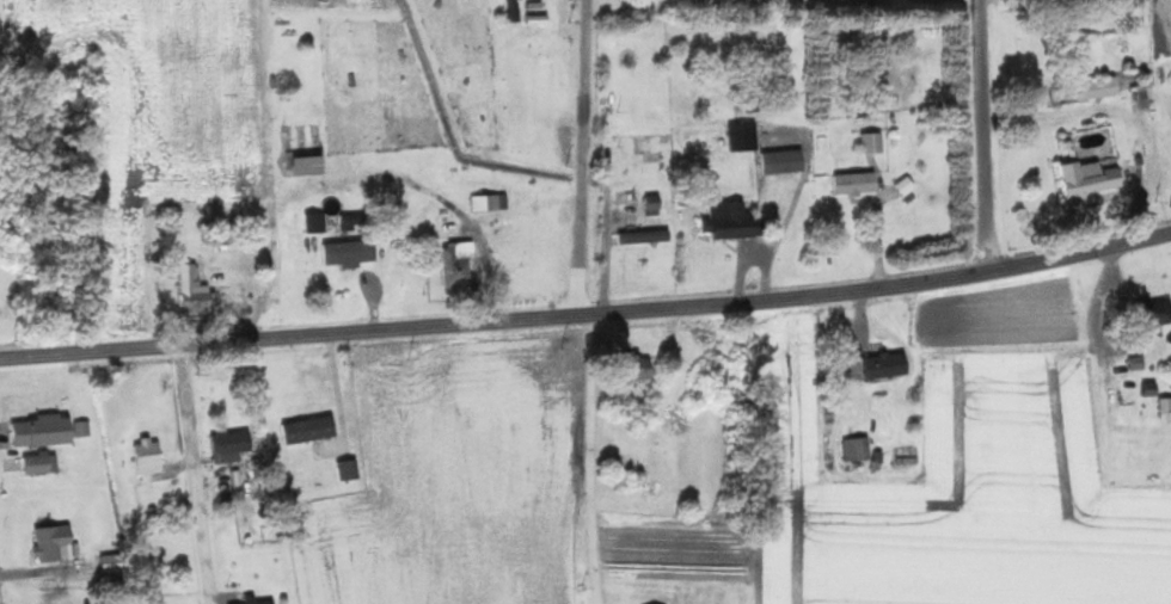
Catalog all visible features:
building: (372, 91)
road: (983, 134)
building: (746, 136)
building: (875, 142)
building: (785, 161)
building: (309, 165)
building: (1092, 179)
building: (858, 183)
building: (737, 220)
building: (352, 226)
road: (271, 234)
building: (351, 252)
building: (460, 264)
building: (196, 289)
road: (588, 314)
building: (889, 365)
building: (643, 369)
building: (1153, 389)
building: (1165, 405)
building: (312, 430)
building: (45, 431)
building: (233, 445)
building: (860, 449)
building: (151, 457)
road: (593, 458)
building: (43, 464)
building: (351, 470)
road: (194, 474)
building: (625, 477)
building: (57, 543)
building: (115, 566)
building: (262, 602)

